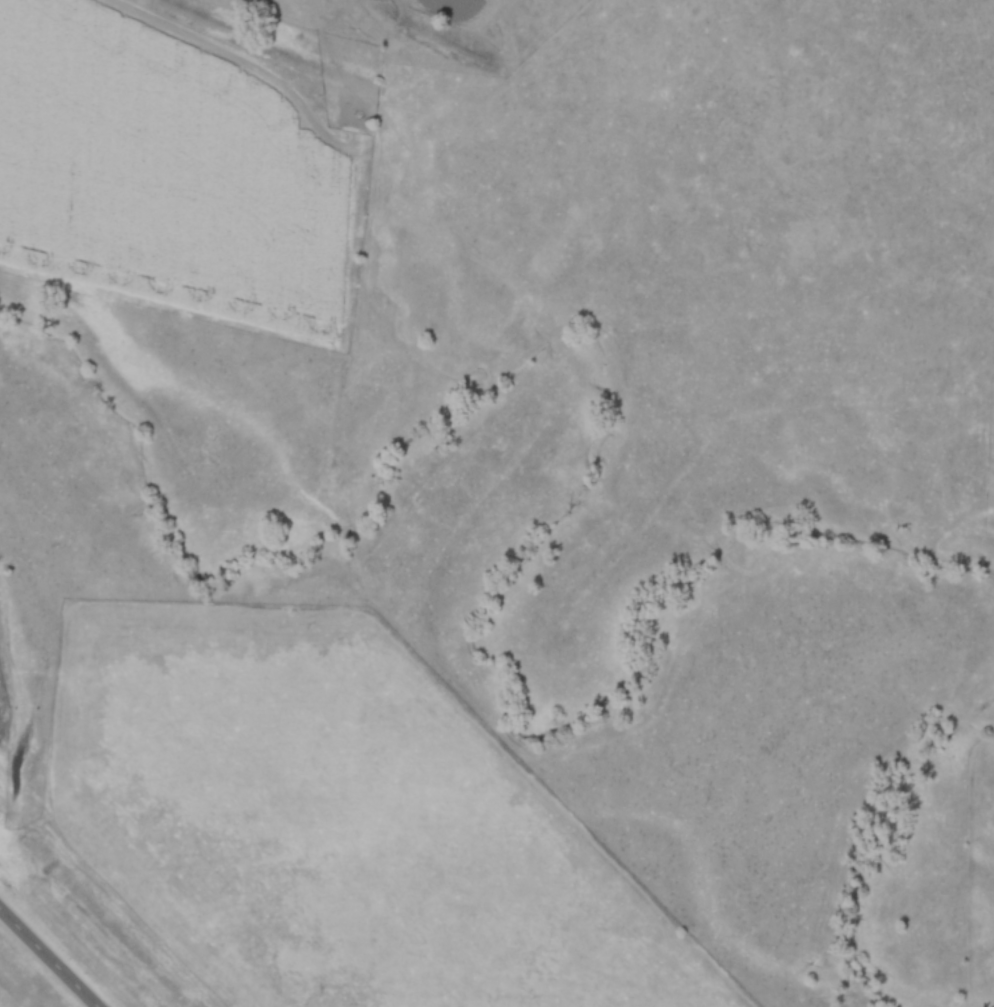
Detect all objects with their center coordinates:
road: (49, 958)

